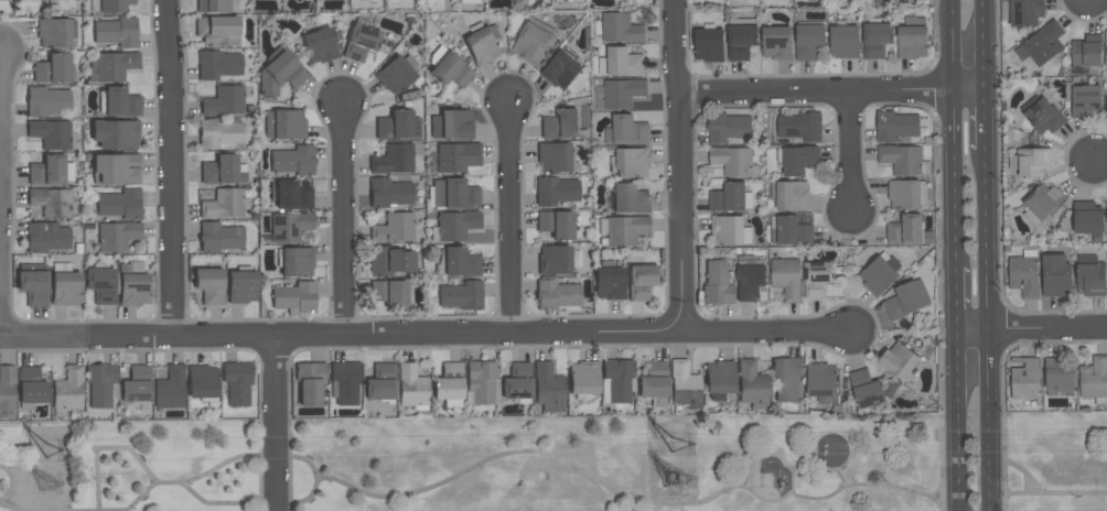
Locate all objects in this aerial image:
building: (3, 0)
building: (31, 0)
building: (471, 1)
building: (893, 1)
building: (630, 2)
building: (115, 6)
building: (214, 6)
building: (1022, 12)
building: (620, 29)
building: (217, 31)
building: (117, 32)
building: (55, 33)
building: (741, 37)
building: (875, 37)
building: (912, 39)
building: (808, 40)
building: (533, 41)
building: (359, 42)
building: (776, 42)
building: (845, 42)
building: (709, 44)
building: (1041, 44)
building: (483, 45)
building: (320, 46)
road: (985, 46)
building: (1106, 47)
building: (1086, 51)
building: (620, 63)
building: (218, 65)
building: (112, 66)
building: (562, 68)
building: (55, 69)
building: (450, 70)
building: (280, 74)
building: (395, 75)
building: (622, 93)
road: (831, 94)
building: (1083, 98)
building: (47, 101)
building: (224, 101)
building: (120, 102)
building: (1106, 102)
building: (1042, 115)
road: (986, 120)
building: (284, 124)
building: (451, 124)
building: (561, 124)
building: (398, 126)
building: (895, 126)
building: (727, 127)
building: (799, 127)
building: (626, 130)
building: (219, 133)
road: (953, 133)
building: (51, 134)
building: (116, 134)
road: (1, 137)
road: (850, 156)
building: (458, 157)
building: (555, 157)
building: (393, 160)
building: (797, 160)
building: (903, 160)
building: (293, 161)
building: (733, 161)
road: (1100, 161)
building: (630, 162)
building: (1030, 162)
road: (679, 165)
building: (116, 168)
road: (171, 170)
building: (52, 171)
building: (223, 171)
building: (556, 191)
building: (389, 193)
building: (452, 194)
building: (906, 194)
building: (789, 195)
building: (291, 196)
building: (628, 198)
building: (730, 198)
building: (52, 202)
building: (1042, 203)
building: (119, 204)
building: (223, 204)
building: (1087, 218)
road: (512, 220)
road: (343, 221)
building: (555, 224)
building: (456, 226)
building: (289, 227)
building: (394, 228)
building: (624, 230)
building: (730, 230)
building: (791, 230)
building: (907, 230)
building: (117, 236)
building: (47, 237)
building: (219, 237)
building: (553, 260)
building: (391, 261)
building: (295, 262)
building: (460, 263)
building: (1024, 273)
building: (880, 274)
building: (1055, 274)
building: (1089, 275)
building: (750, 278)
building: (786, 278)
building: (817, 279)
building: (609, 281)
building: (642, 281)
building: (717, 283)
building: (100, 284)
building: (35, 285)
building: (66, 285)
building: (209, 285)
building: (132, 287)
building: (241, 287)
building: (389, 294)
building: (556, 294)
building: (294, 296)
building: (460, 296)
road: (954, 297)
building: (905, 300)
road: (937, 300)
road: (1030, 327)
road: (987, 329)
road: (512, 336)
road: (87, 338)
road: (272, 354)
building: (899, 360)
building: (1057, 376)
building: (786, 378)
building: (583, 379)
building: (718, 379)
building: (1025, 379)
building: (615, 380)
building: (653, 380)
building: (1094, 380)
building: (202, 381)
building: (516, 381)
building: (380, 382)
building: (448, 382)
building: (481, 382)
building: (821, 382)
building: (237, 383)
building: (310, 383)
building: (345, 383)
building: (101, 384)
building: (136, 384)
building: (684, 384)
building: (752, 384)
building: (411, 387)
building: (32, 388)
building: (548, 388)
building: (69, 389)
building: (170, 389)
building: (866, 389)
building: (7, 392)
road: (1002, 405)
road: (954, 420)
road: (275, 425)
power tower: (675, 442)
road: (130, 448)
power tower: (54, 449)
road: (527, 450)
road: (782, 464)
park: (565, 466)
road: (823, 466)
road: (0, 468)
road: (1022, 471)
power tower: (675, 477)
road: (839, 477)
road: (96, 479)
road: (12, 485)
road: (868, 485)
power tower: (50, 486)
road: (935, 490)
road: (1055, 491)
road: (139, 496)
road: (279, 502)
road: (998, 507)

